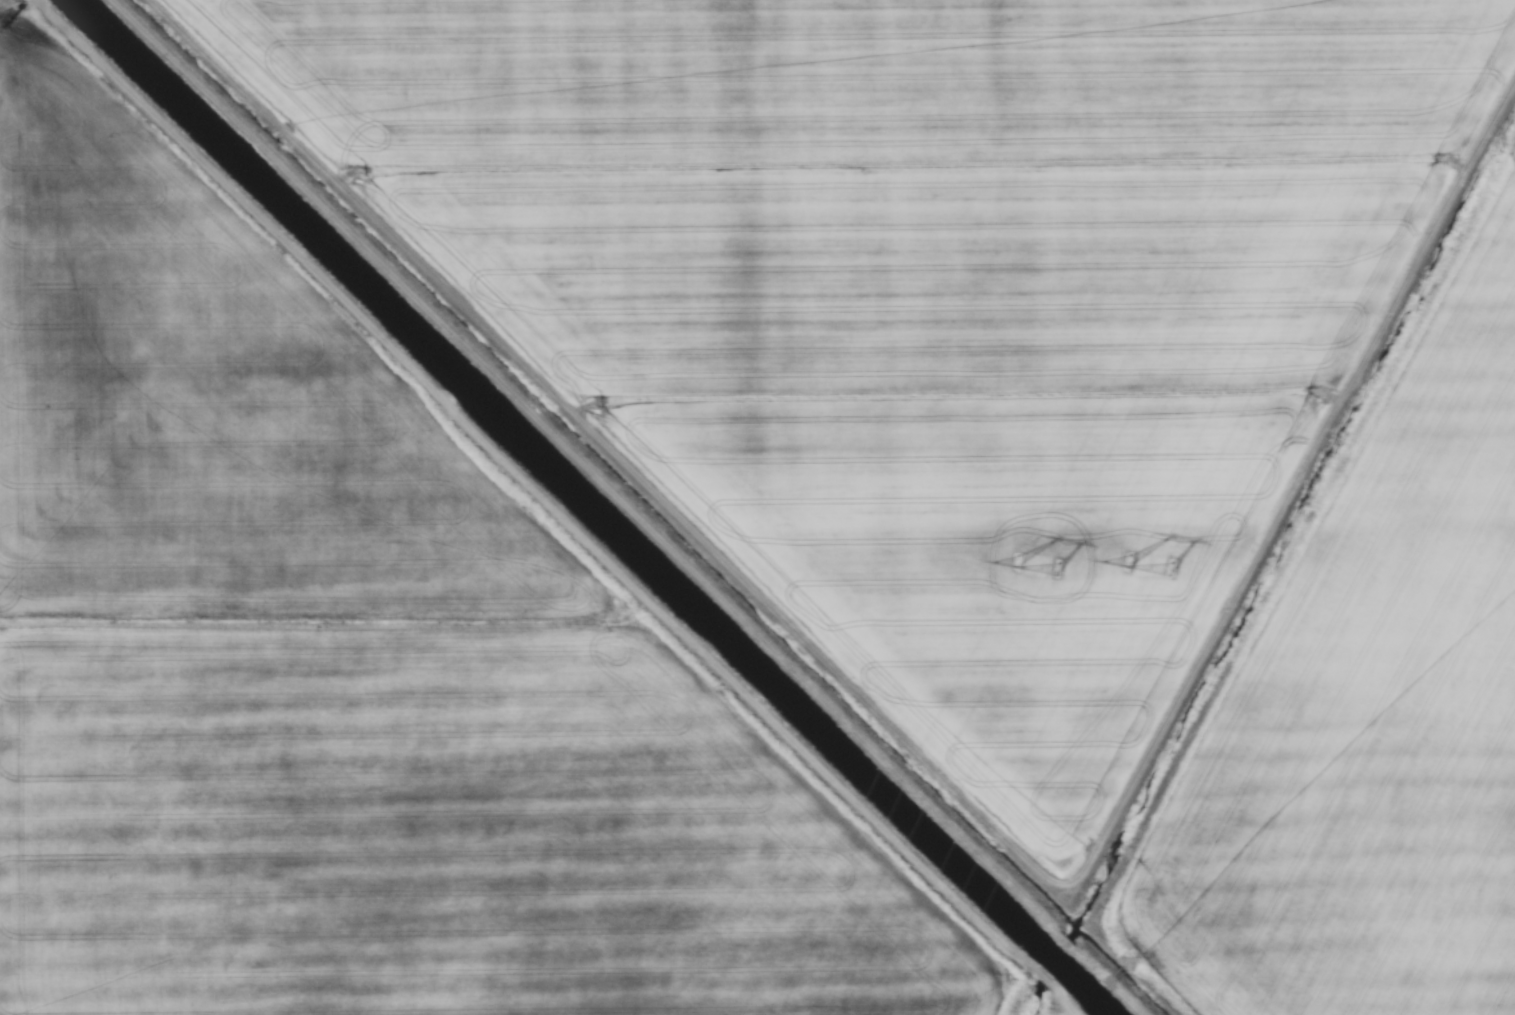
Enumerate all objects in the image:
power tower: (1041, 564)
power tower: (1155, 574)

